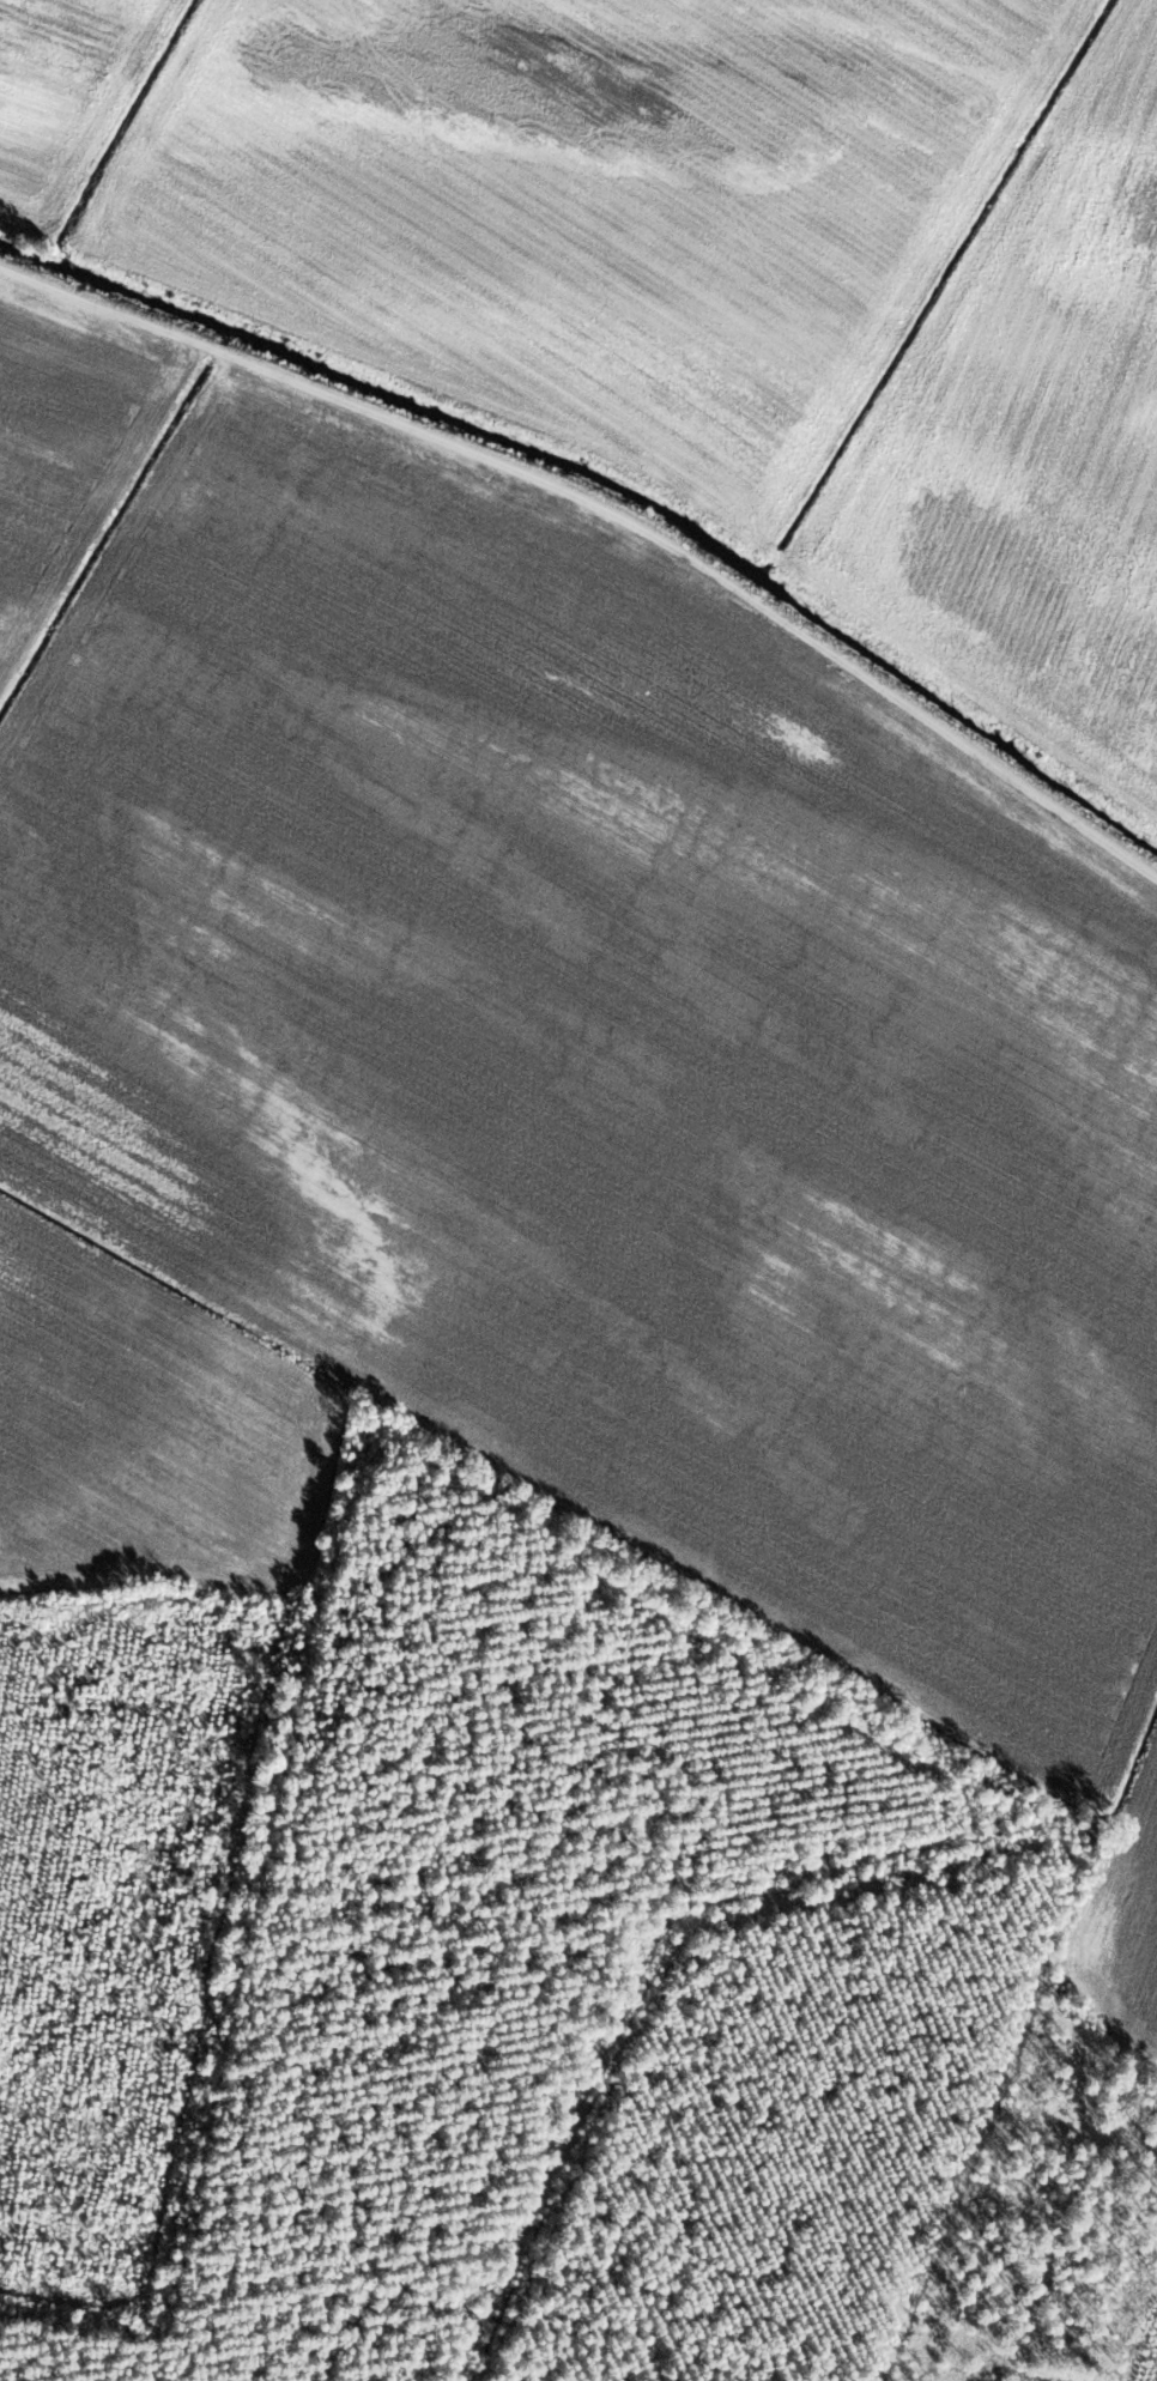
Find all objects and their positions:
road: (611, 516)

